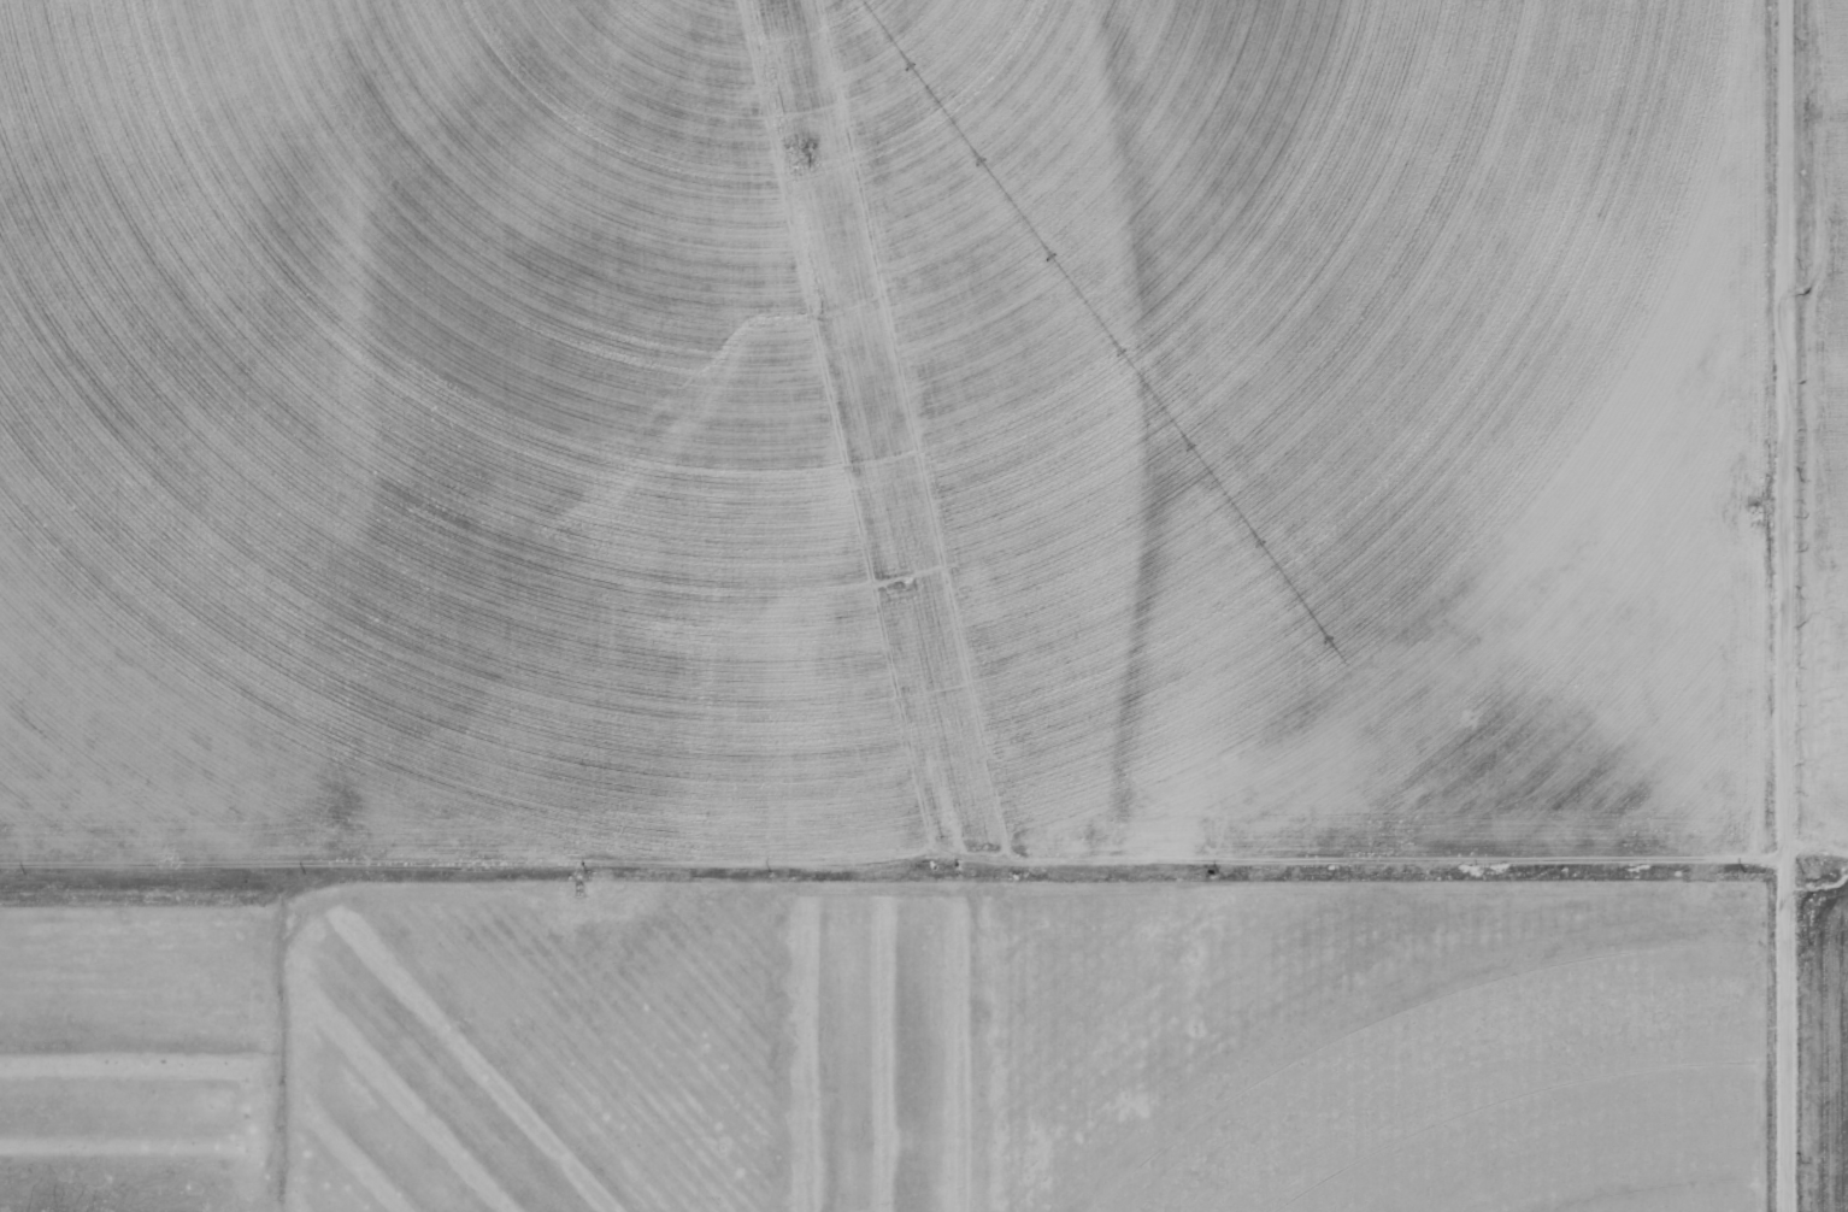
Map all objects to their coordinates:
road: (1789, 605)

